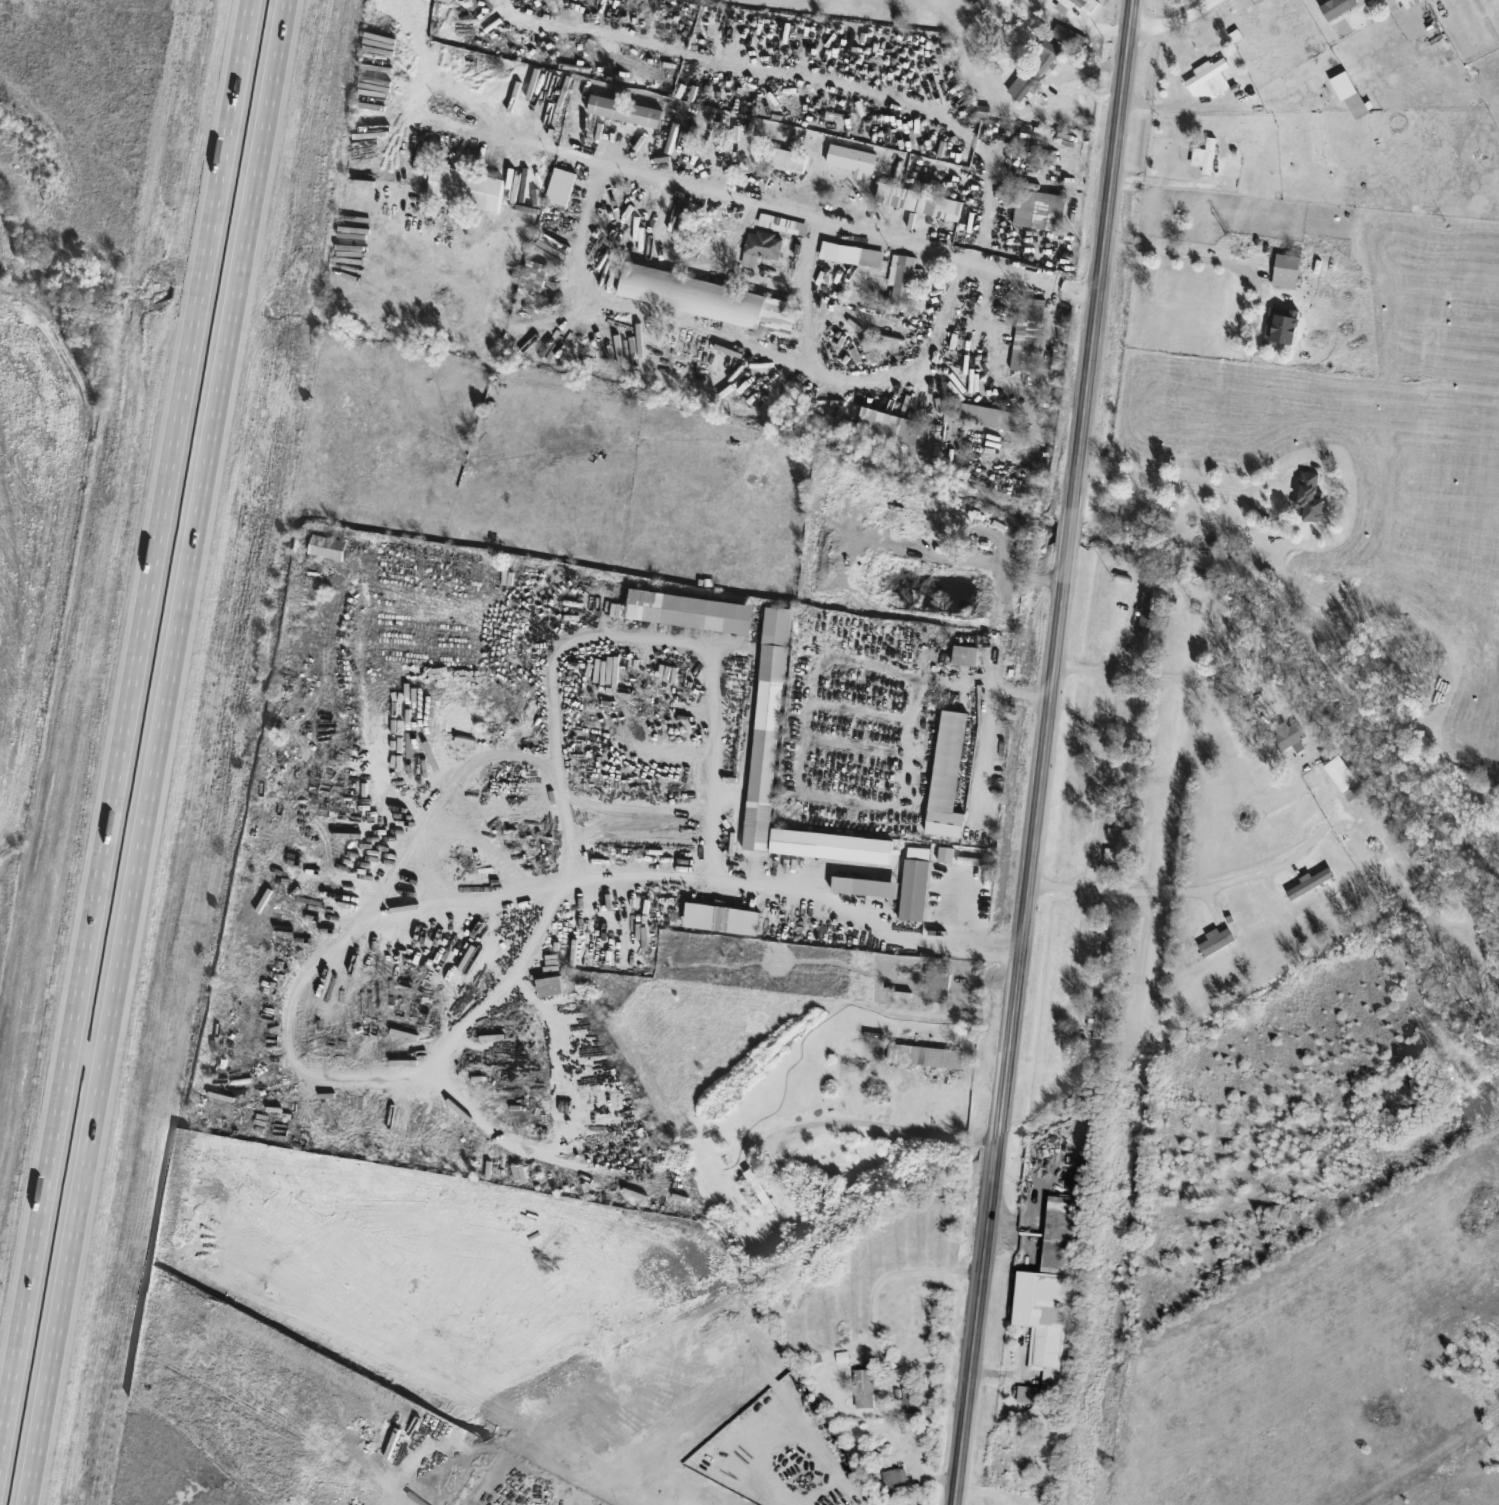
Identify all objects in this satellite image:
building: (1406, 2)
building: (1086, 4)
building: (1337, 6)
road: (1128, 15)
road: (1176, 22)
road: (1077, 26)
building: (12, 28)
road: (1085, 67)
building: (1037, 69)
building: (937, 74)
building: (1209, 74)
building: (1356, 102)
building: (624, 109)
road: (928, 115)
road: (539, 147)
building: (784, 158)
road: (1163, 176)
building: (464, 186)
building: (560, 186)
building: (918, 200)
building: (1040, 209)
building: (782, 222)
road: (845, 223)
building: (763, 243)
power tower: (1238, 247)
building: (851, 253)
road: (1179, 255)
building: (1286, 269)
building: (532, 277)
building: (903, 279)
road: (807, 288)
building: (707, 297)
road: (952, 307)
building: (1281, 325)
building: (1027, 333)
road: (1057, 345)
road: (870, 385)
building: (989, 414)
building: (889, 422)
road: (1179, 484)
building: (1309, 494)
building: (980, 528)
building: (327, 545)
road: (1036, 579)
power tower: (1195, 606)
building: (689, 609)
building: (1146, 613)
road: (680, 642)
building: (961, 653)
road: (1175, 681)
road: (917, 682)
road: (1031, 693)
building: (1132, 720)
building: (766, 727)
road: (125, 733)
building: (1287, 733)
road: (983, 751)
road: (152, 752)
railway: (1173, 752)
road: (1041, 767)
building: (1341, 771)
road: (1104, 783)
building: (1117, 825)
building: (831, 844)
building: (973, 859)
building: (1311, 880)
building: (914, 882)
road: (1197, 887)
road: (969, 908)
power tower: (1159, 908)
building: (739, 918)
building: (1216, 938)
road: (975, 944)
road: (1080, 961)
building: (549, 984)
building: (936, 984)
building: (1099, 1016)
building: (924, 1054)
road: (882, 1123)
building: (751, 1175)
power tower: (1122, 1224)
road: (900, 1273)
building: (1051, 1301)
building: (727, 1375)
building: (865, 1388)
building: (909, 1399)
building: (736, 1445)
road: (821, 1445)
road: (920, 1471)
road: (640, 1474)

